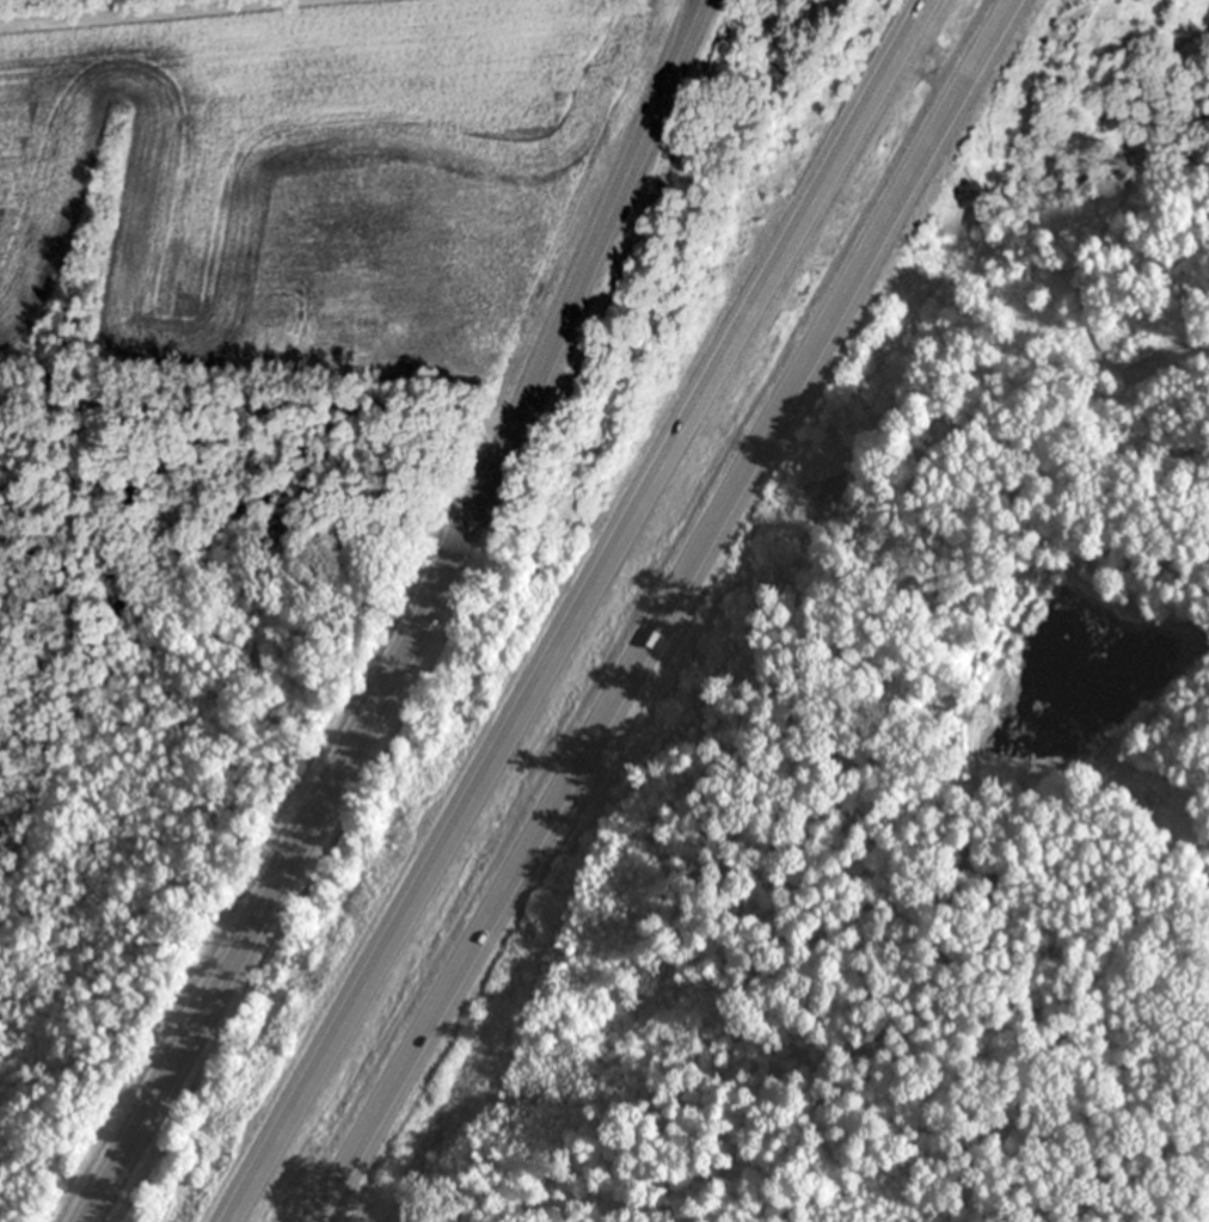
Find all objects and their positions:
road: (157, 13)
road: (578, 609)
road: (665, 609)
road: (424, 625)

